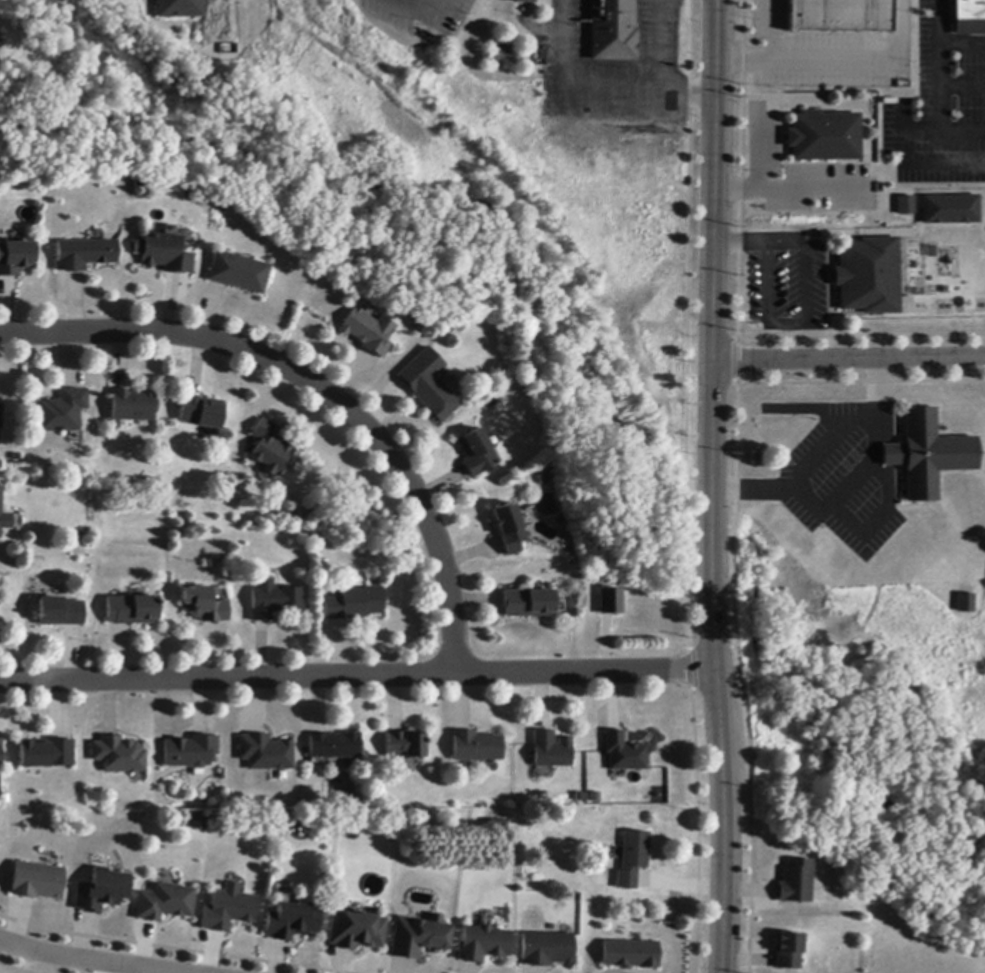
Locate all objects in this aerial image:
building: (523, 1)
building: (176, 8)
building: (840, 16)
building: (968, 17)
building: (612, 31)
road: (667, 45)
road: (833, 57)
road: (935, 65)
road: (596, 88)
parking lot: (942, 99)
road: (941, 123)
building: (823, 137)
building: (906, 205)
building: (950, 210)
road: (738, 243)
building: (164, 253)
building: (84, 254)
building: (16, 258)
park: (382, 266)
building: (239, 273)
building: (869, 276)
road: (804, 318)
building: (416, 322)
building: (369, 332)
road: (848, 358)
building: (429, 385)
road: (316, 390)
building: (133, 406)
building: (62, 412)
building: (201, 412)
building: (0, 421)
building: (270, 448)
building: (477, 453)
building: (929, 454)
road: (822, 455)
road: (710, 486)
building: (4, 518)
building: (508, 529)
building: (608, 599)
building: (274, 603)
building: (965, 603)
building: (353, 604)
building: (528, 604)
building: (203, 605)
building: (132, 610)
building: (60, 612)
road: (357, 673)
building: (405, 745)
building: (334, 746)
building: (476, 747)
building: (551, 751)
building: (190, 752)
building: (1, 753)
building: (623, 753)
building: (47, 754)
building: (265, 754)
building: (119, 756)
building: (197, 823)
building: (631, 859)
building: (35, 880)
building: (796, 882)
building: (101, 891)
building: (164, 903)
building: (227, 910)
building: (291, 922)
building: (354, 932)
building: (418, 937)
building: (482, 944)
building: (545, 949)
building: (788, 951)
building: (628, 953)
road: (82, 960)

